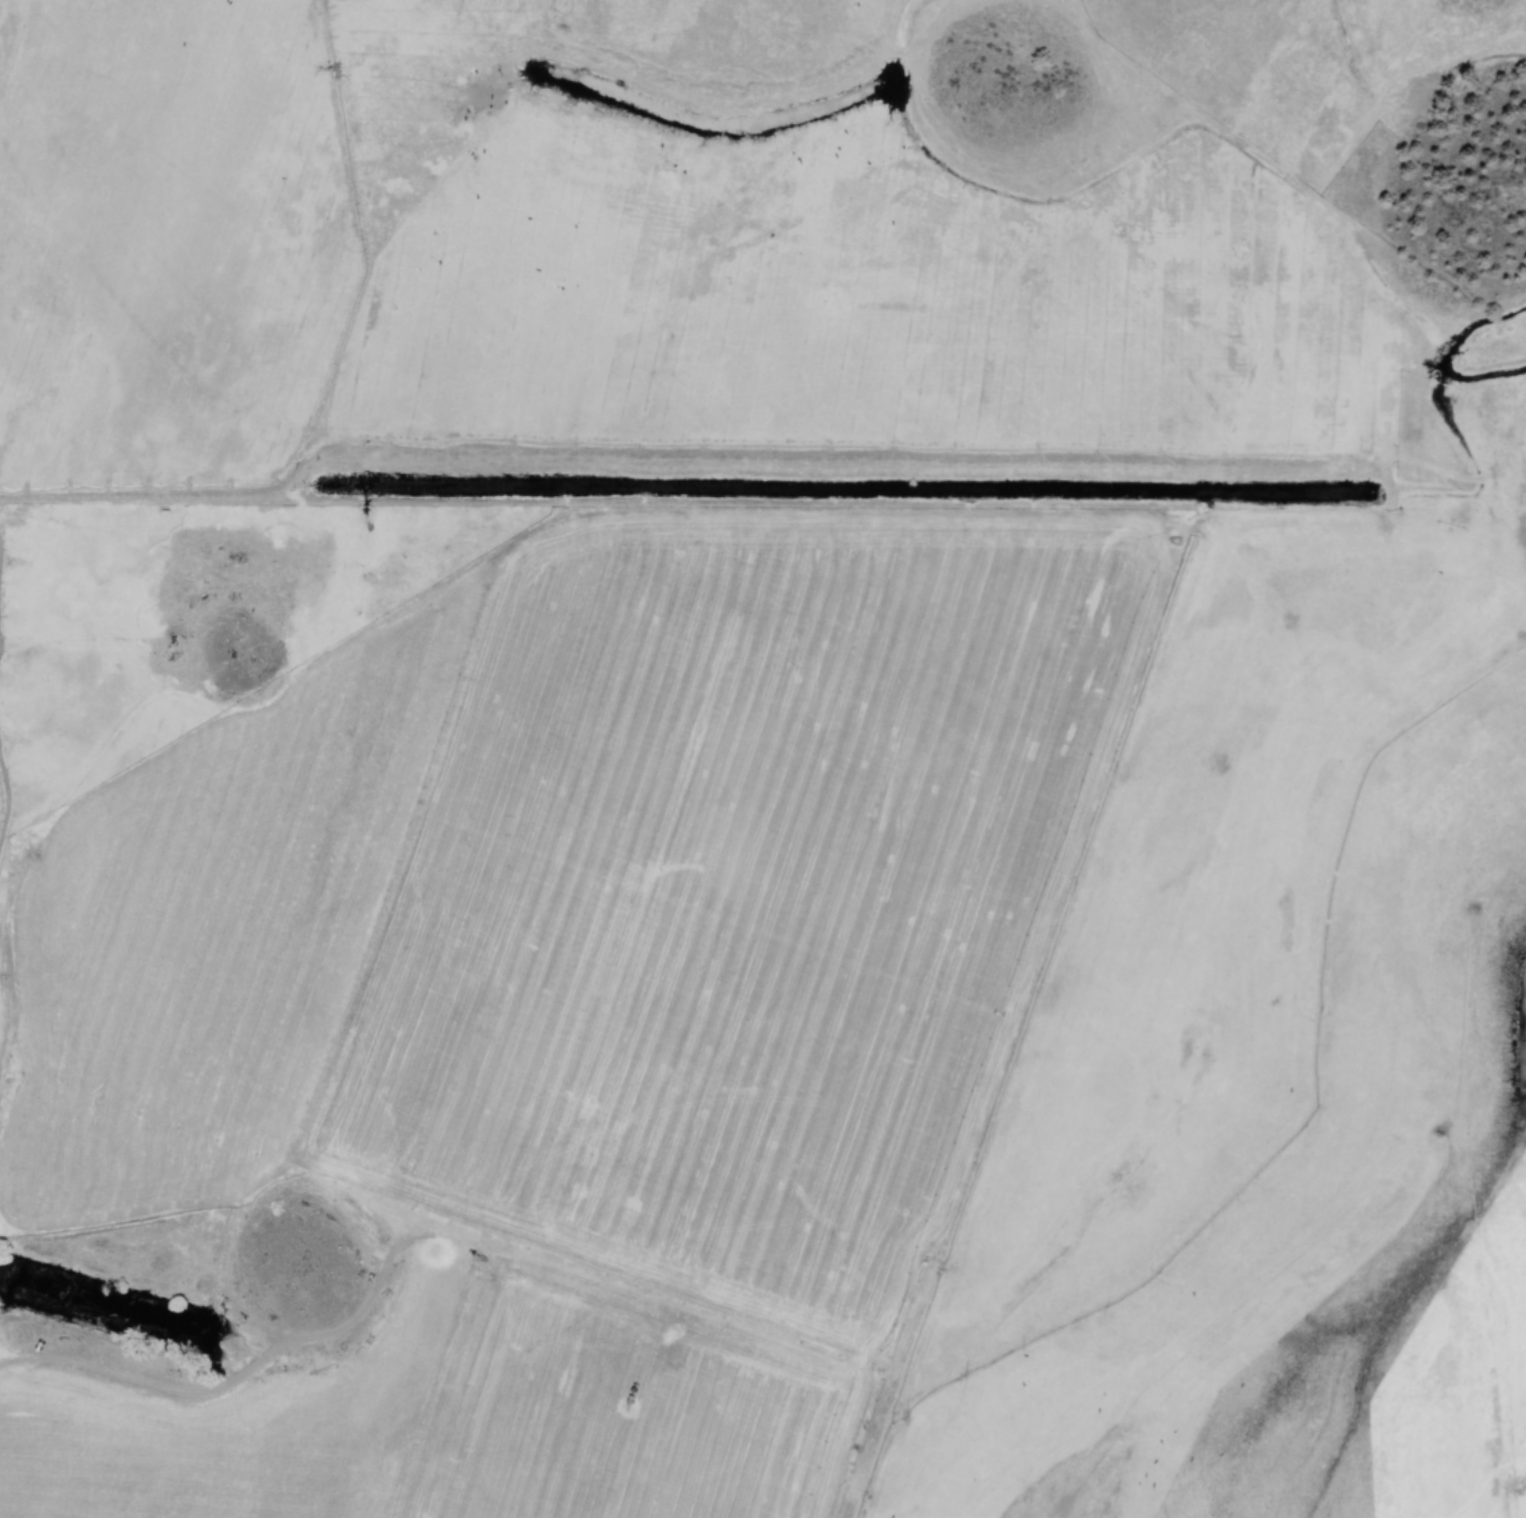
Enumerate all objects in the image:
wastewater plant: (850, 471)
wastewater plant: (96, 1290)

